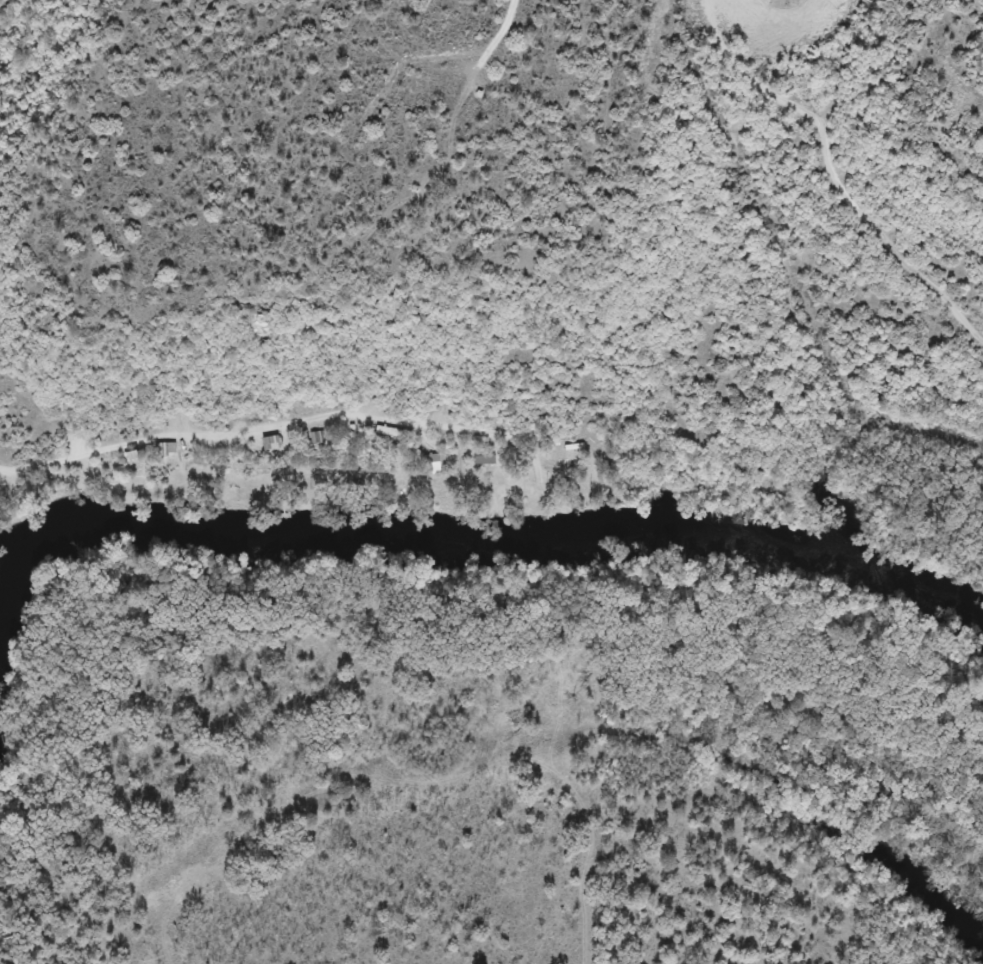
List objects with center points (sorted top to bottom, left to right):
road: (850, 175)
road: (284, 429)
building: (320, 440)
building: (278, 444)
building: (434, 463)
river: (466, 538)

